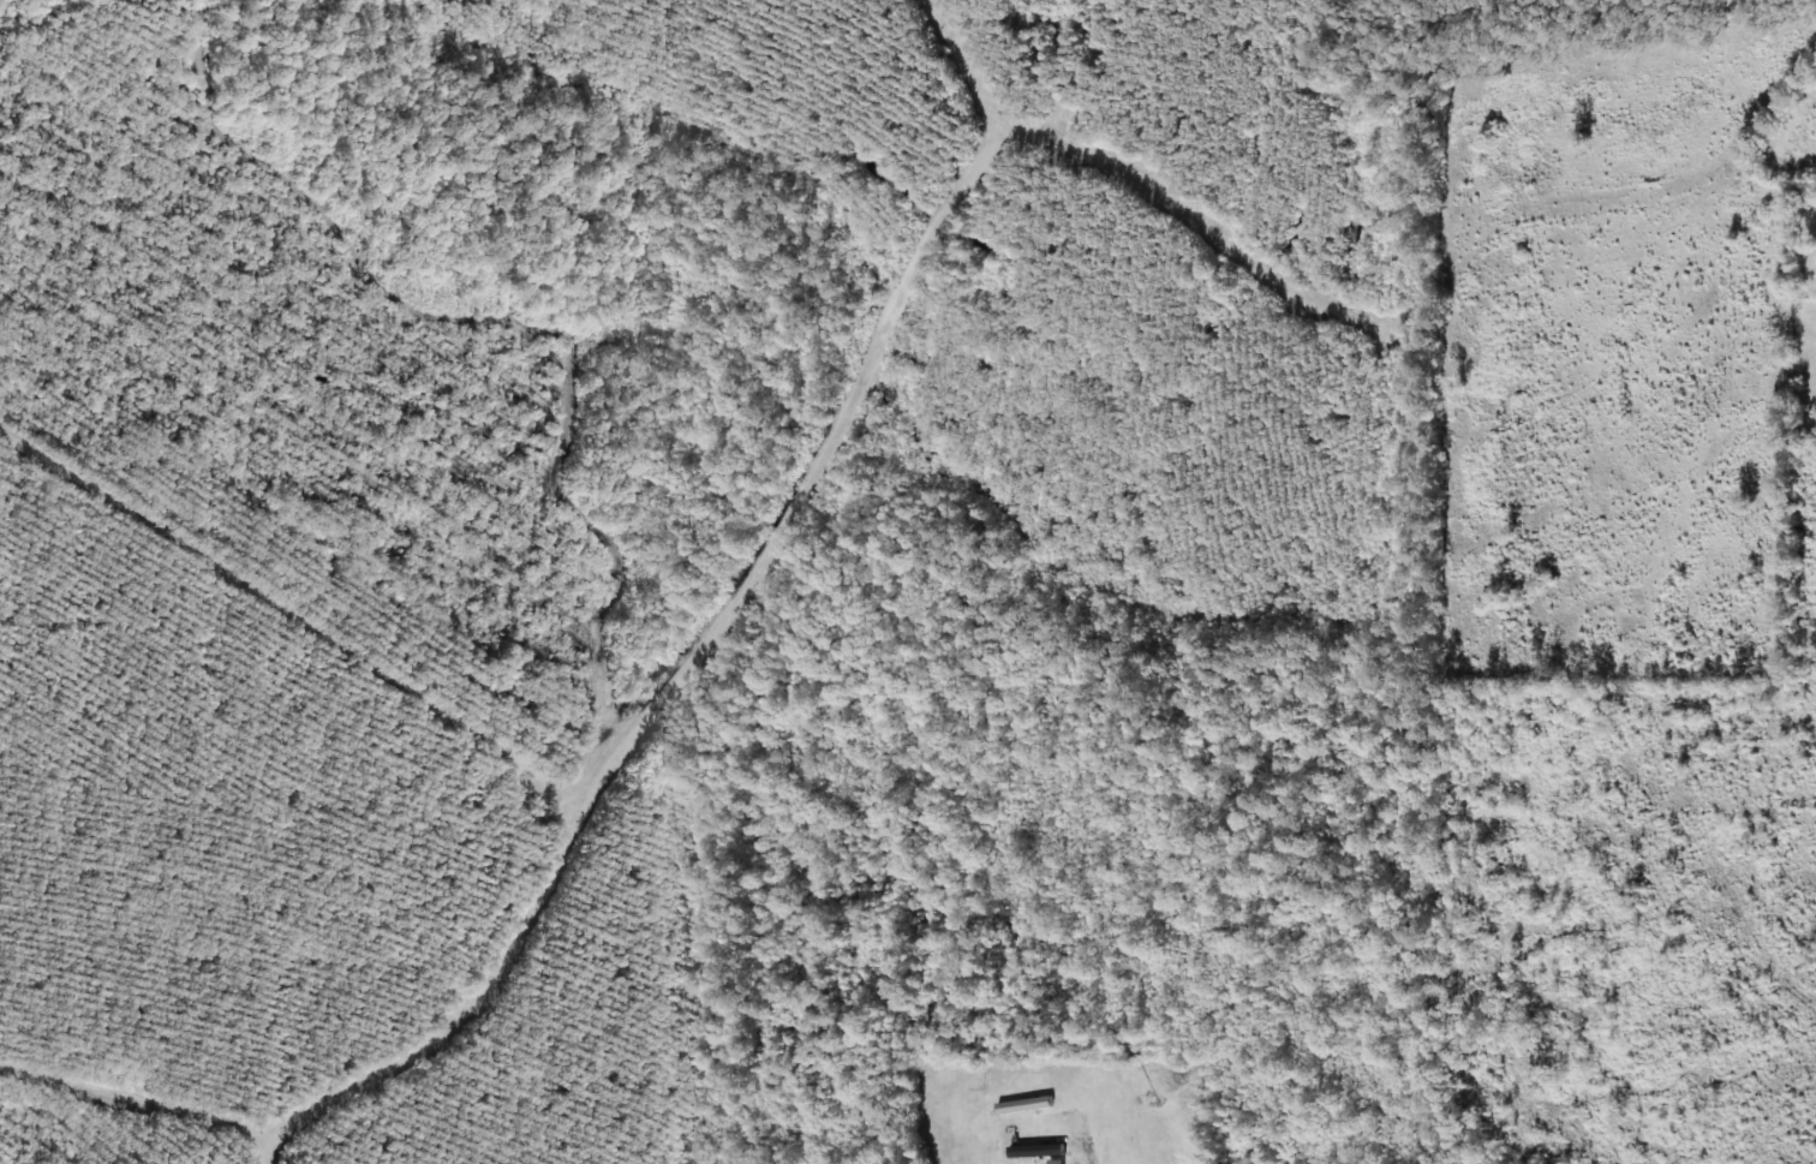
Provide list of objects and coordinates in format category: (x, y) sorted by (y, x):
road: (1804, 113)

